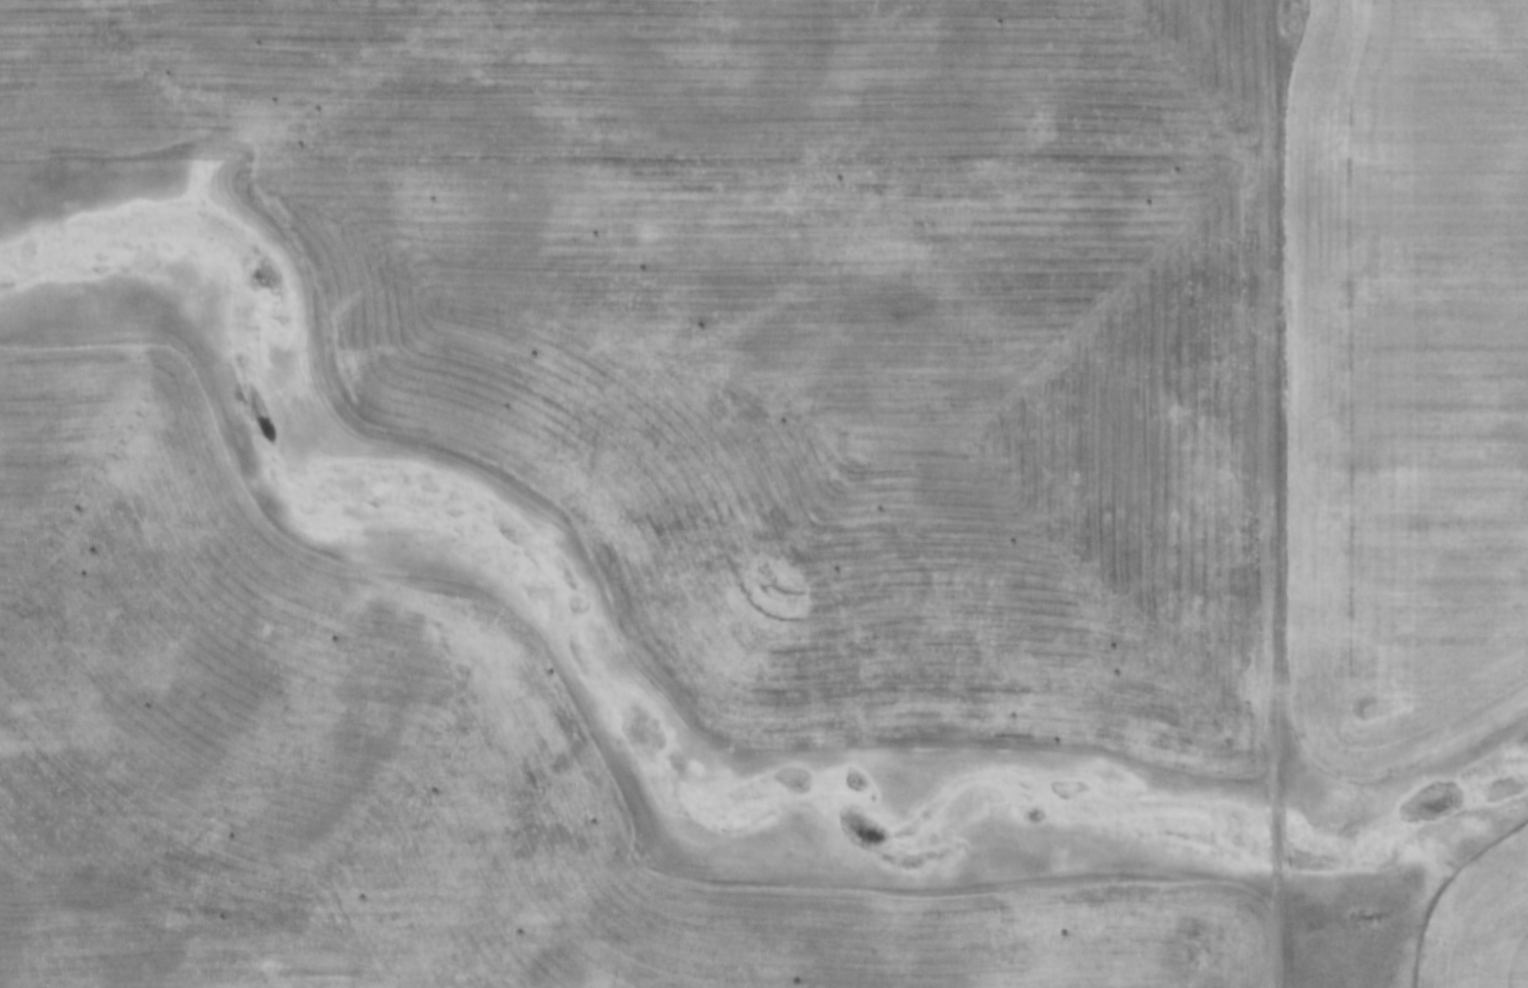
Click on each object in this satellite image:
road: (1284, 493)

